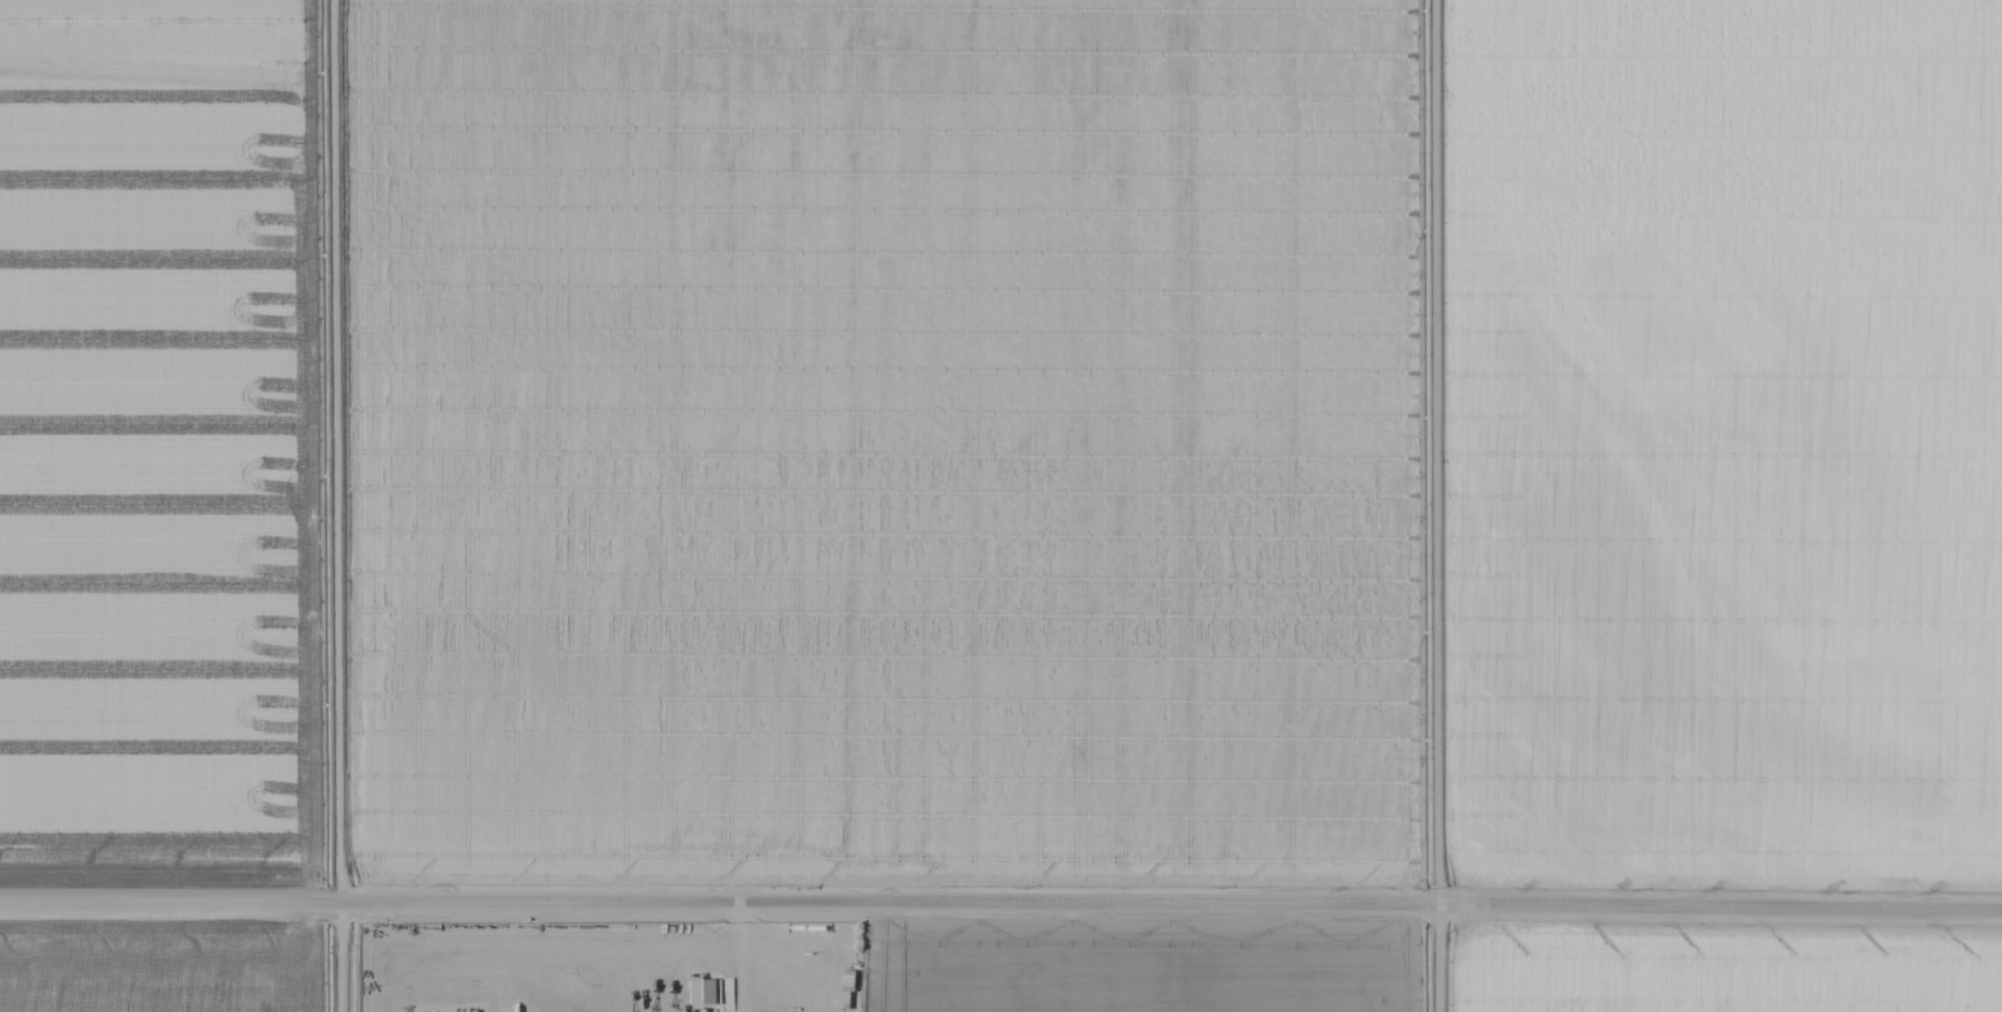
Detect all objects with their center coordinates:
road: (1000, 889)

